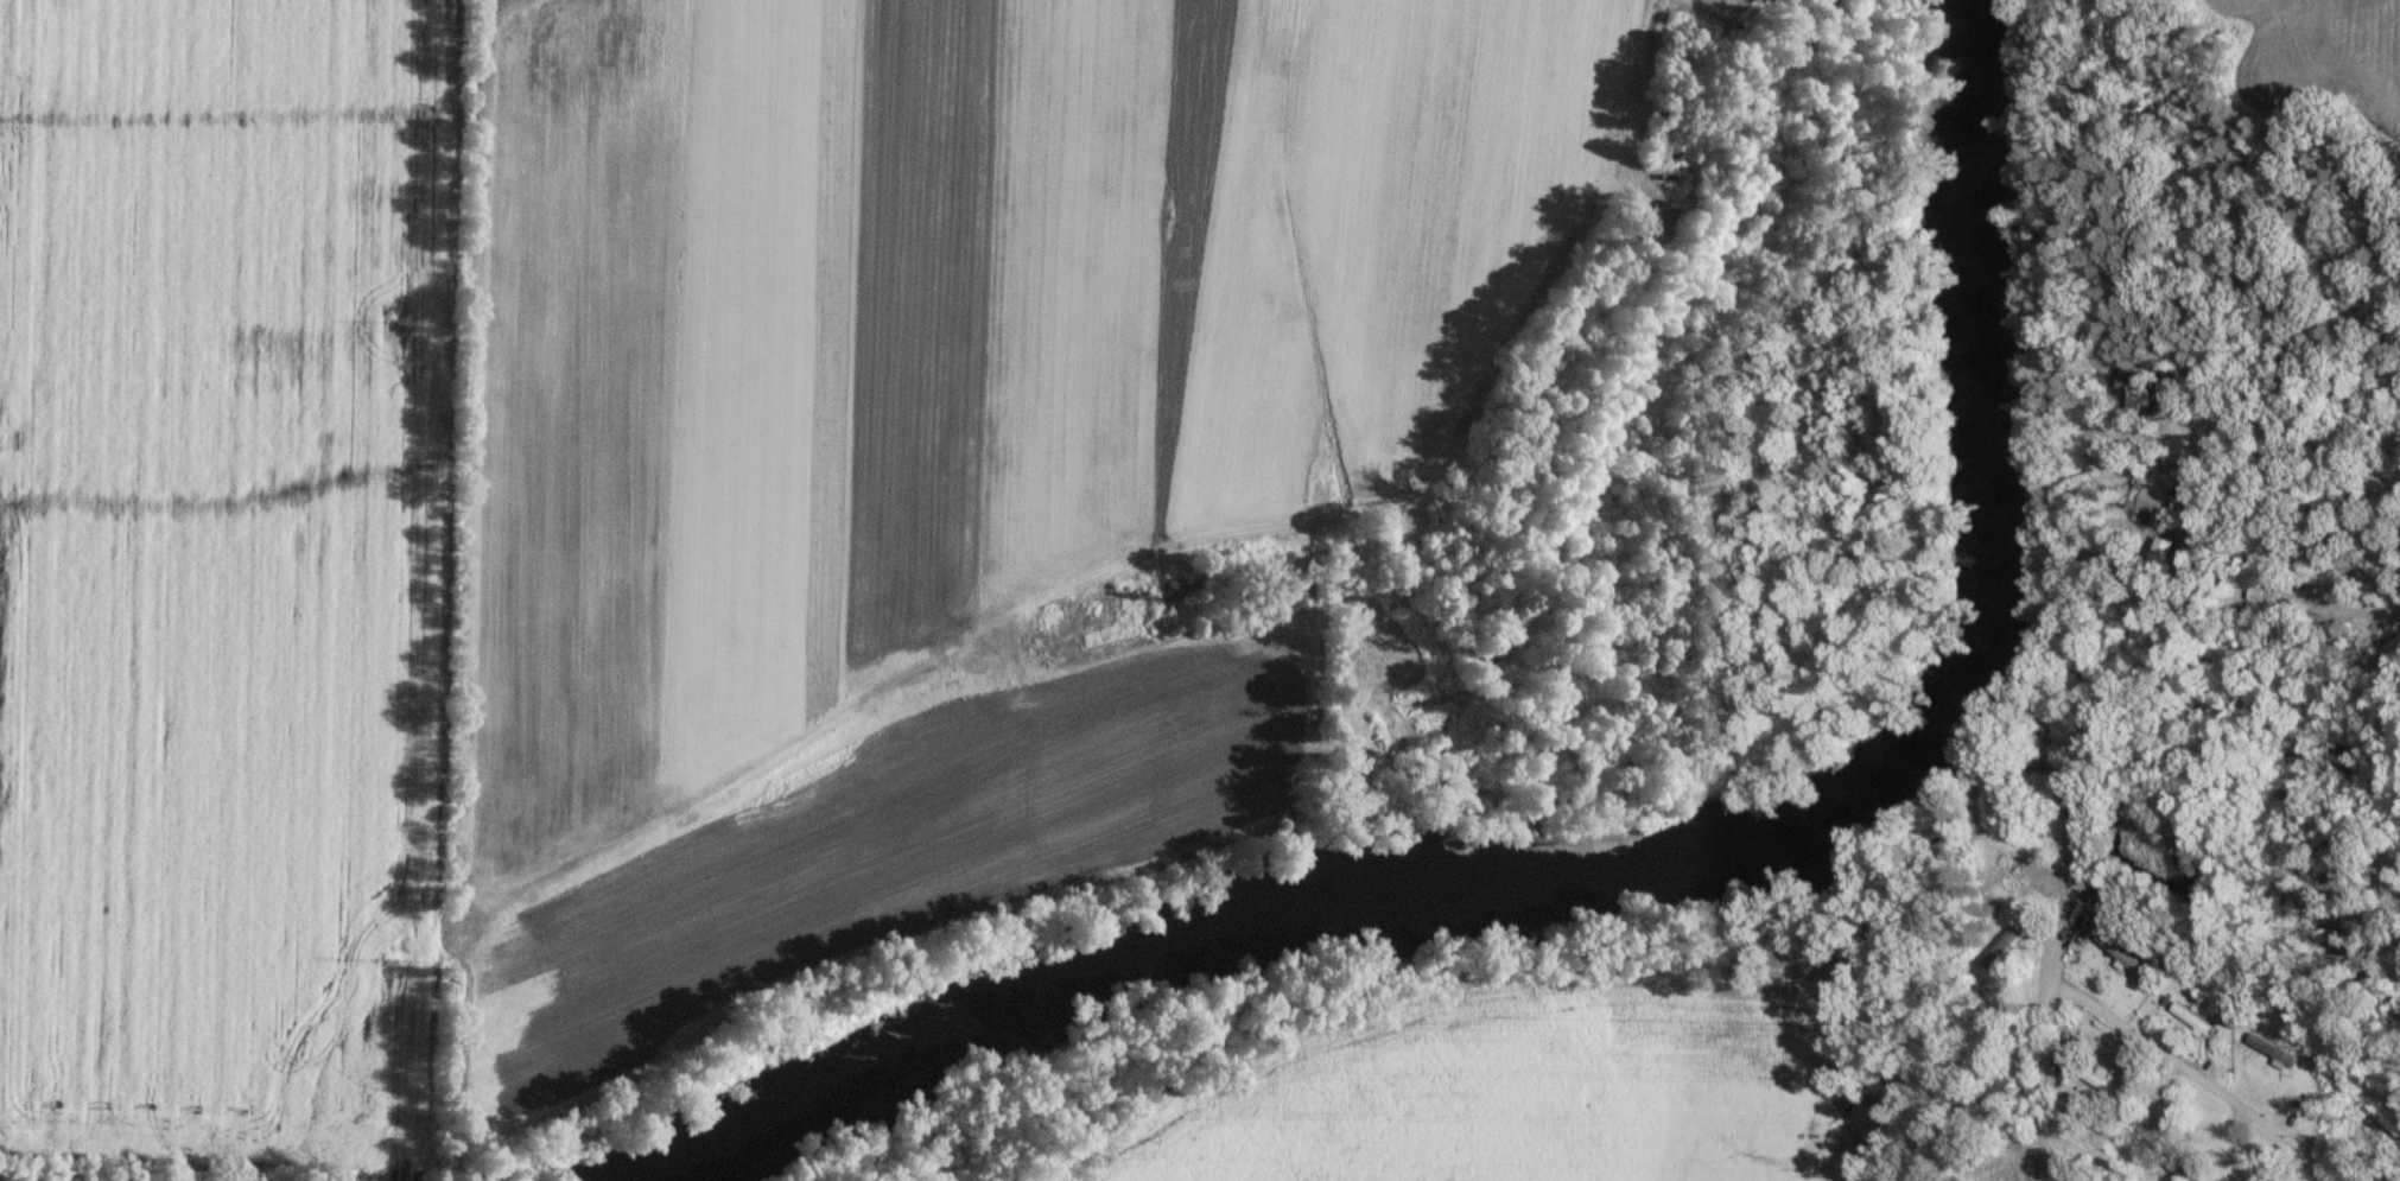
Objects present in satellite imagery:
road: (2299, 437)
building: (2153, 500)
building: (2248, 597)
crop: (877, 855)
river: (1666, 865)
building: (2001, 946)
building: (2192, 1017)
building: (2274, 1052)
road: (2039, 1079)
road: (2203, 1079)
building: (2106, 1085)
crop: (1537, 1090)
building: (1998, 1091)
building: (1960, 1161)

